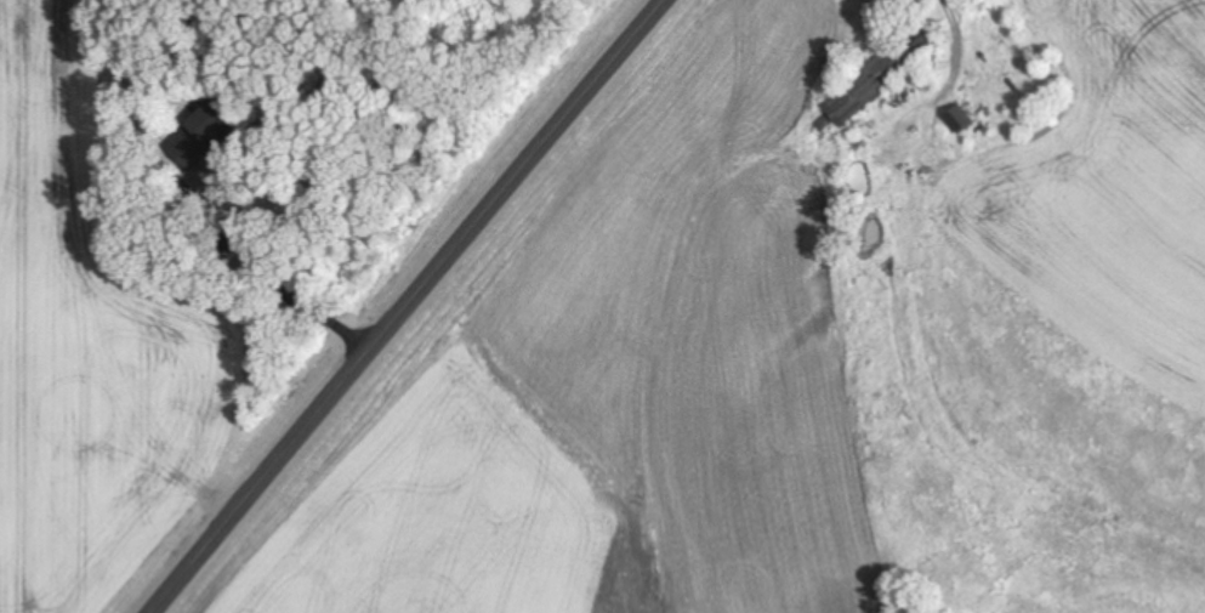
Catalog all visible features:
building: (853, 11)
building: (976, 44)
building: (875, 76)
building: (957, 120)
building: (206, 135)
road: (419, 308)

